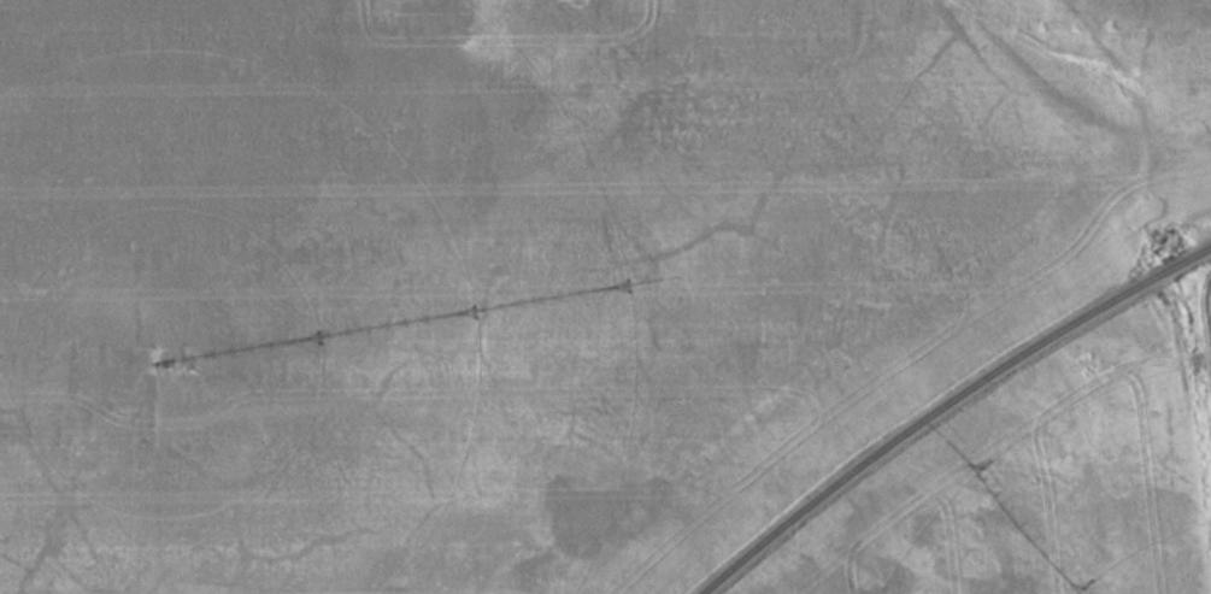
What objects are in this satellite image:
railway: (975, 418)

